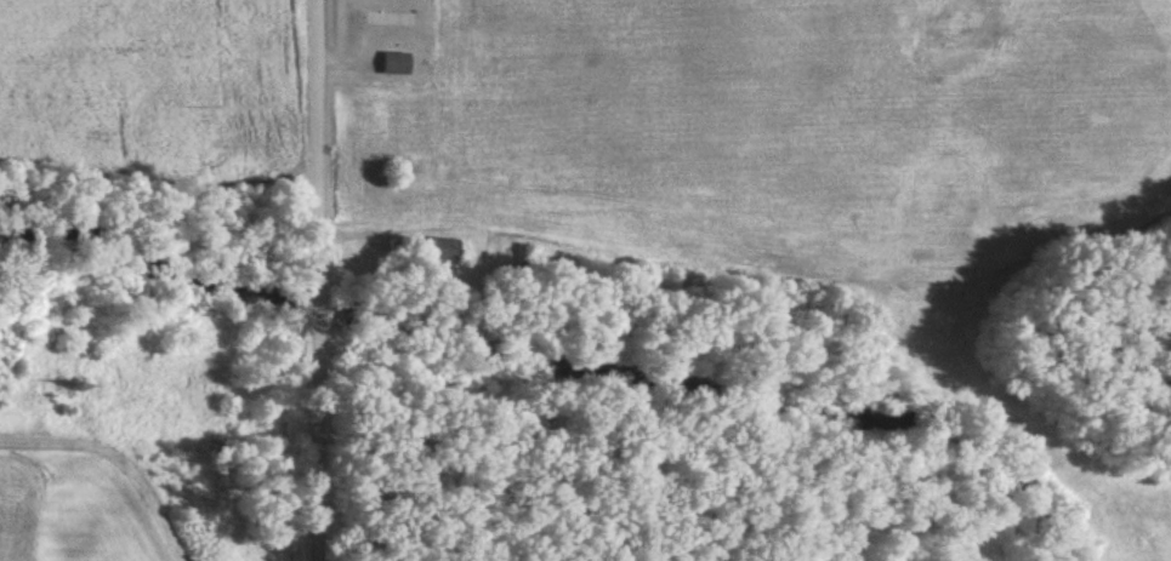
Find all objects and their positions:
building: (390, 21)
building: (394, 65)
building: (394, 250)
building: (448, 251)
building: (524, 254)
road: (320, 280)

